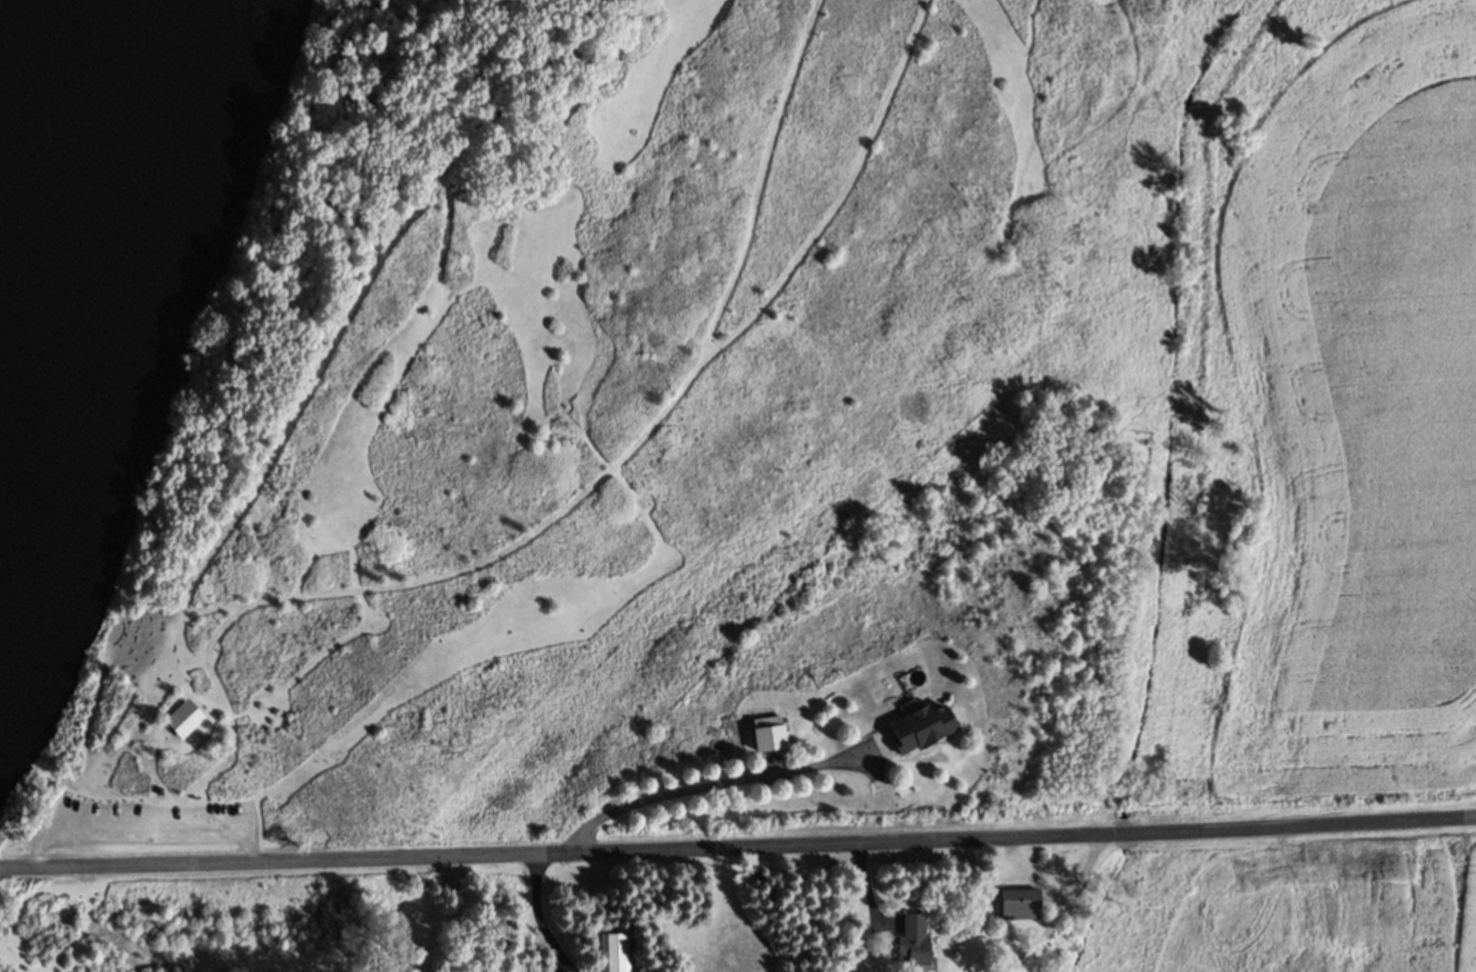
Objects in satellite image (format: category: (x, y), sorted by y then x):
road: (365, 387)
park: (560, 425)
road: (648, 431)
road: (248, 493)
road: (354, 635)
road: (226, 710)
building: (179, 724)
building: (918, 726)
building: (765, 735)
road: (704, 785)
road: (146, 819)
road: (738, 847)
building: (1020, 902)
crop: (1285, 903)
road: (541, 915)
building: (911, 939)
building: (613, 952)

